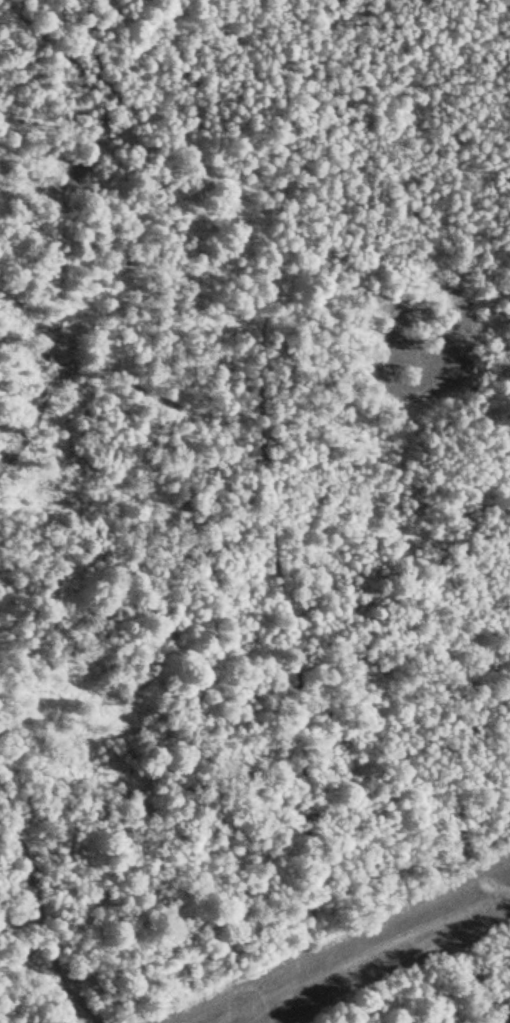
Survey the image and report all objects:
road: (395, 971)

